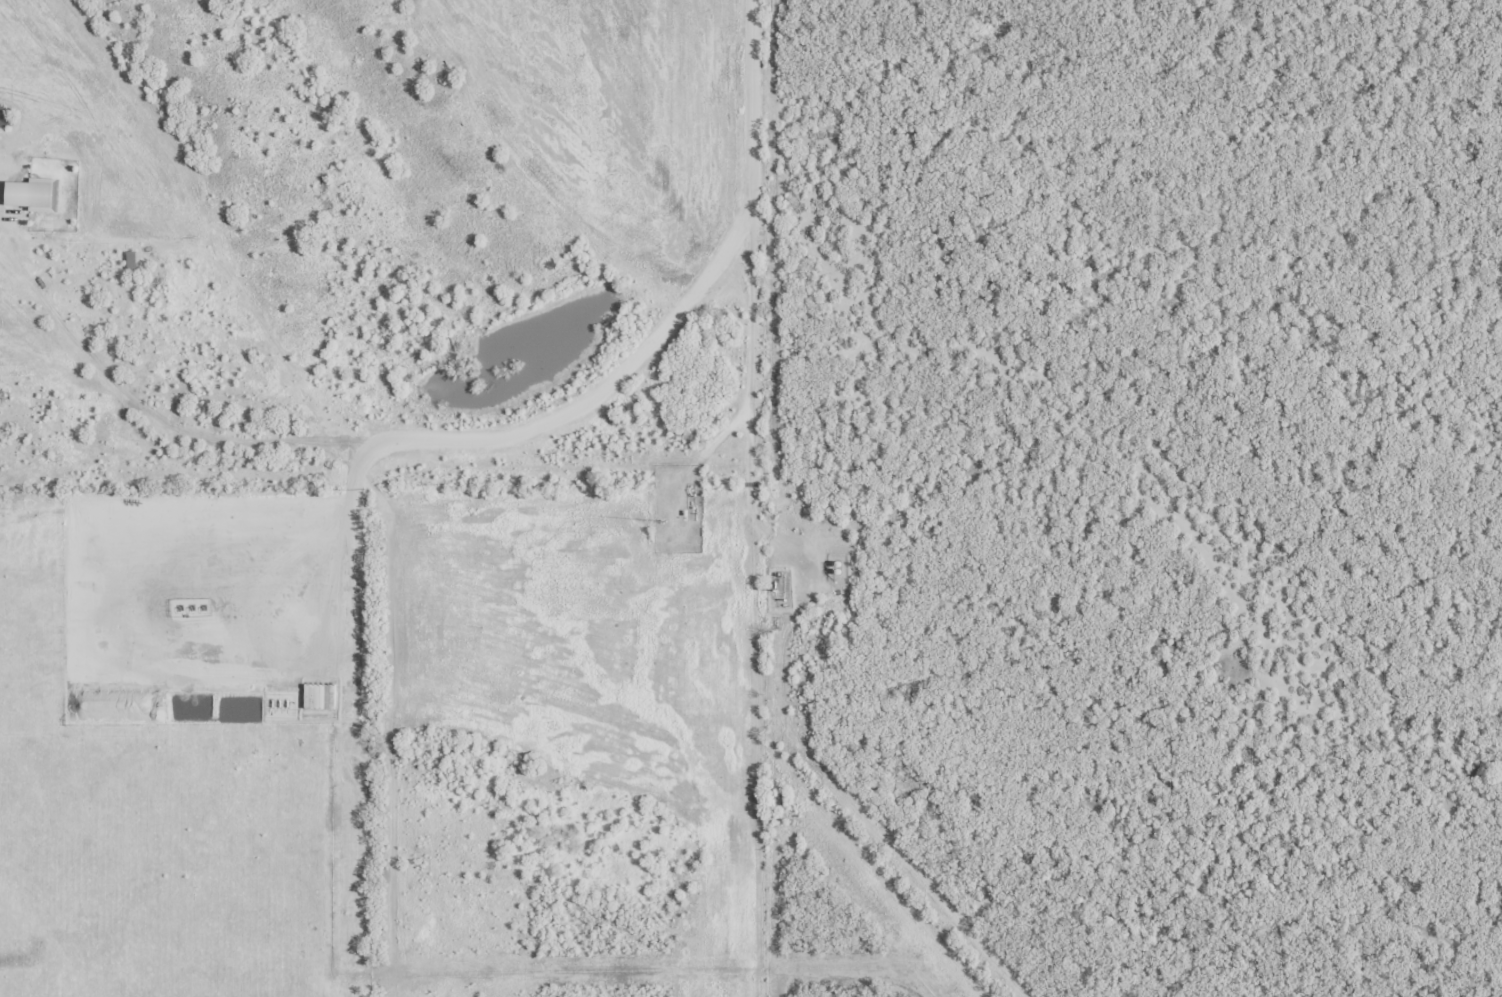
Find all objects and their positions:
building: (27, 193)

